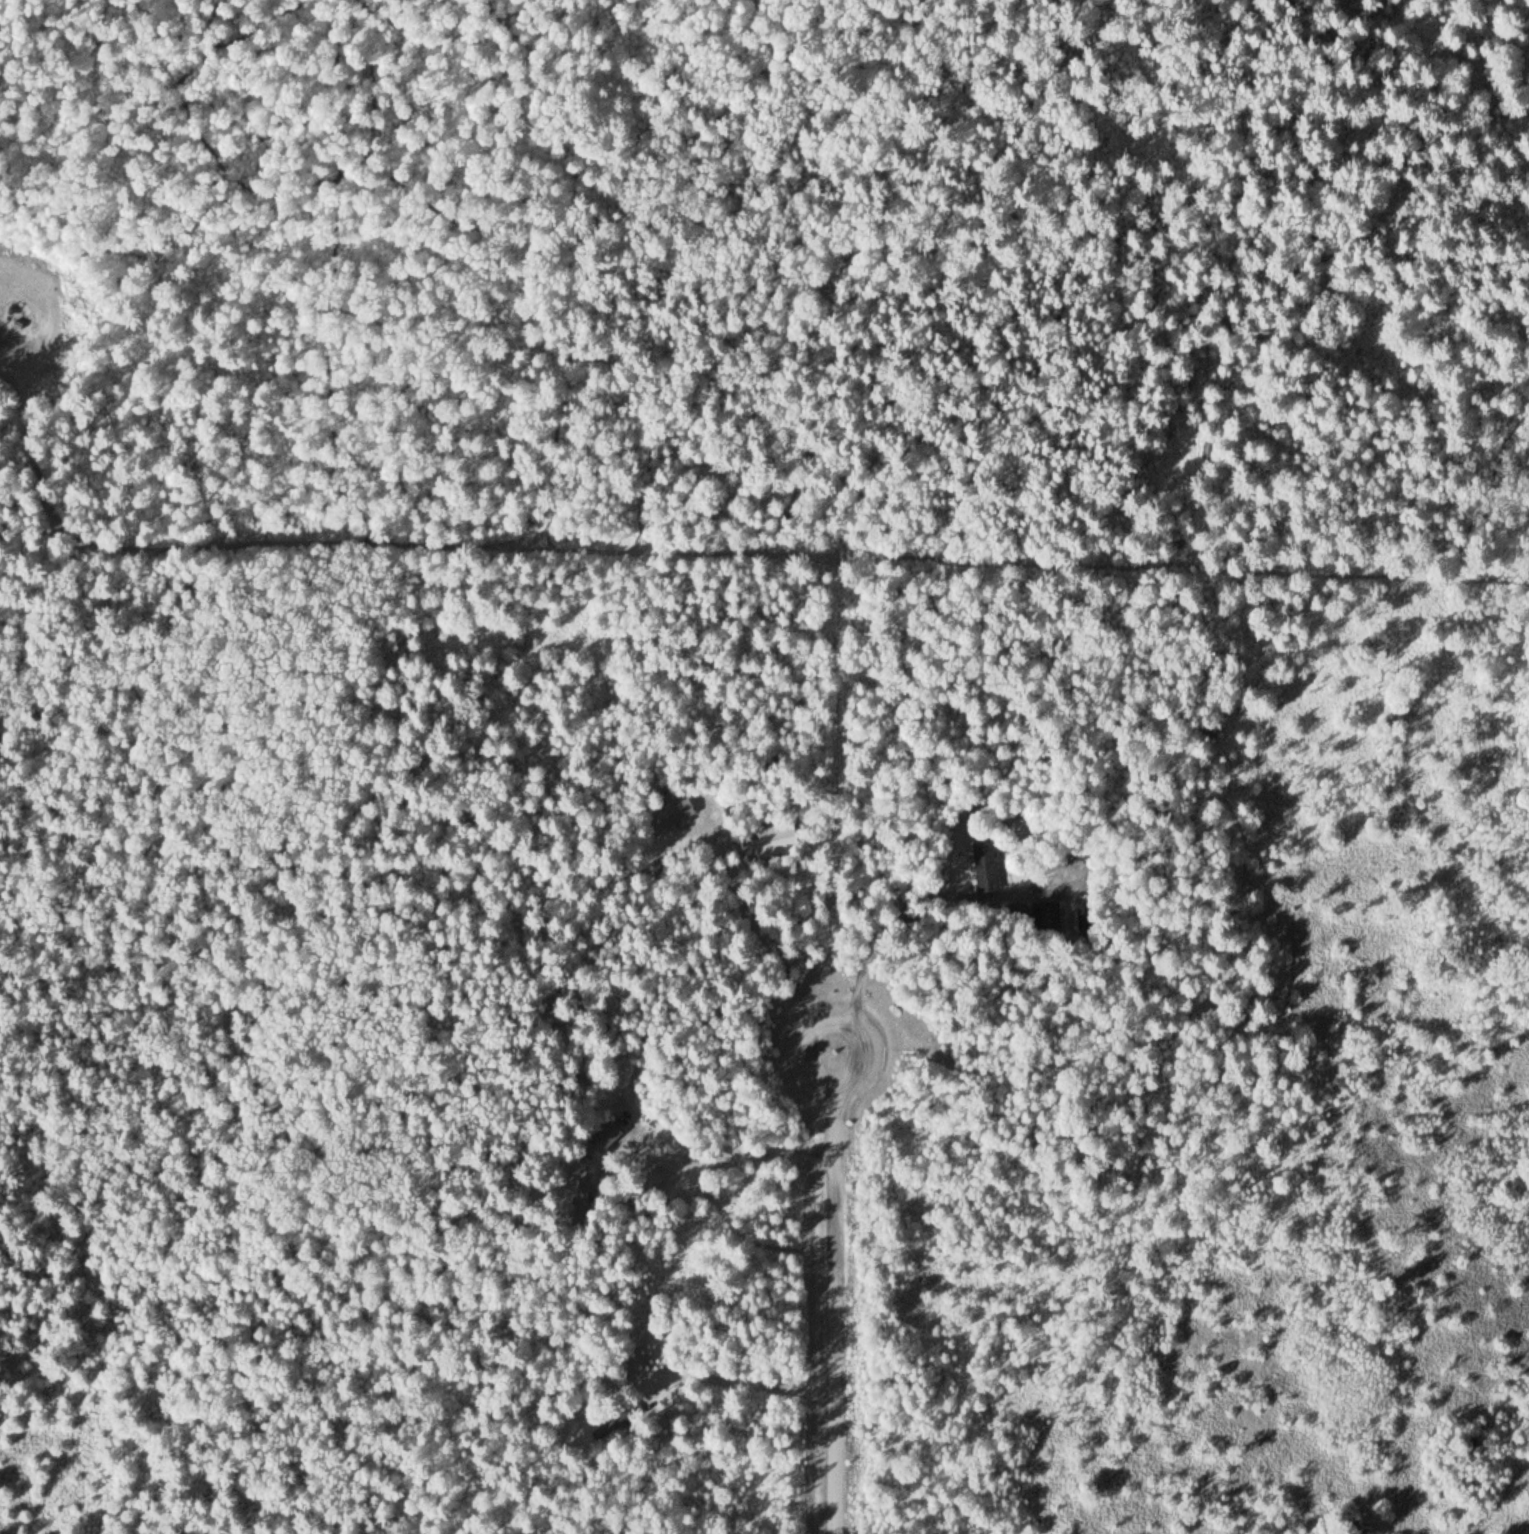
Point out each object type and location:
building: (675, 813)
building: (983, 866)
building: (1017, 910)
building: (1048, 918)
building: (604, 1138)
building: (584, 1183)
road: (839, 1293)

